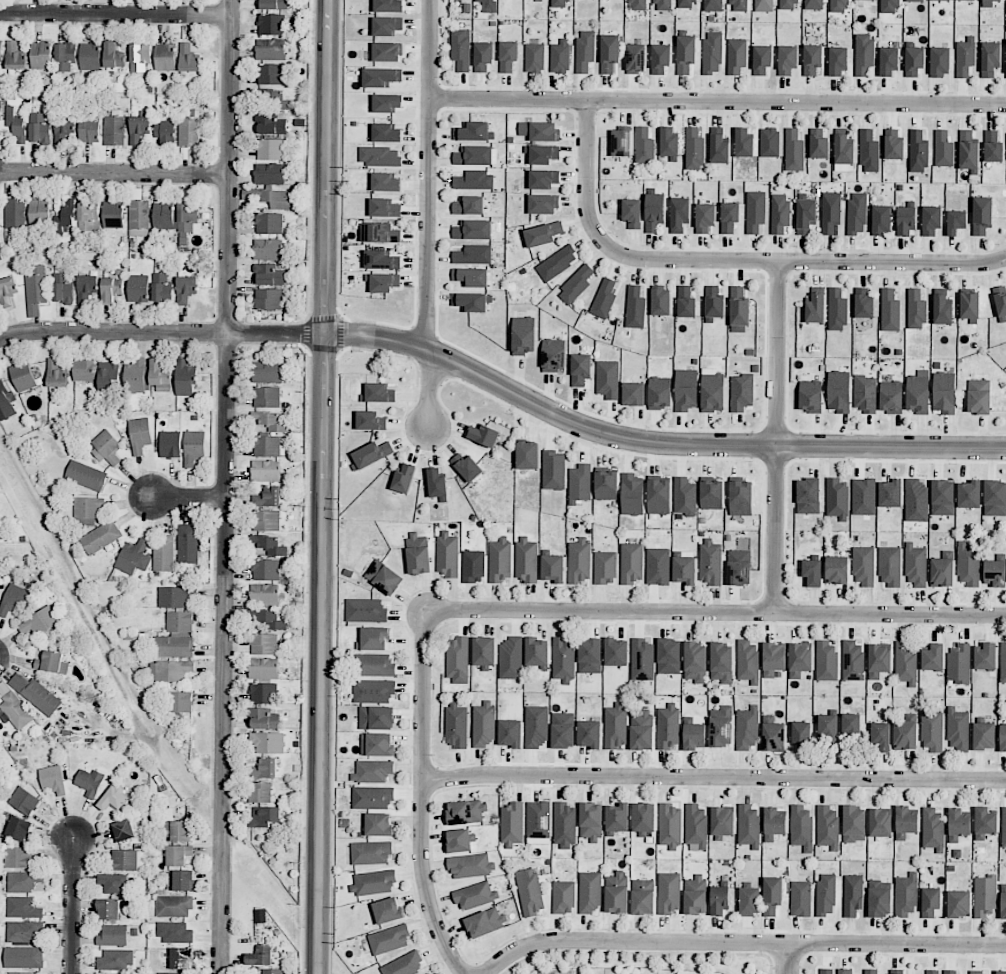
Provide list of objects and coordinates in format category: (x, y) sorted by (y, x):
building: (868, 0)
building: (941, 0)
building: (915, 1)
building: (559, 3)
building: (988, 3)
building: (273, 4)
building: (687, 4)
building: (788, 4)
building: (813, 4)
building: (388, 5)
building: (487, 5)
building: (637, 5)
building: (662, 5)
building: (712, 5)
building: (738, 5)
building: (763, 5)
building: (839, 6)
building: (889, 6)
road: (116, 15)
building: (271, 24)
building: (386, 26)
building: (271, 48)
building: (461, 49)
building: (1, 51)
building: (585, 51)
building: (386, 52)
building: (712, 52)
building: (609, 53)
building: (686, 53)
building: (863, 53)
building: (41, 55)
building: (113, 55)
building: (508, 55)
building: (736, 55)
building: (15, 56)
building: (65, 56)
building: (90, 56)
building: (140, 56)
building: (483, 56)
building: (534, 56)
building: (965, 56)
building: (165, 57)
building: (560, 57)
building: (188, 58)
building: (636, 58)
building: (660, 58)
building: (990, 58)
building: (762, 59)
building: (787, 59)
building: (812, 59)
building: (888, 60)
building: (837, 61)
building: (913, 61)
building: (940, 61)
building: (270, 74)
building: (381, 77)
building: (273, 100)
road: (717, 102)
building: (387, 103)
building: (0, 112)
building: (272, 123)
building: (16, 124)
building: (39, 128)
building: (64, 128)
building: (89, 129)
building: (114, 130)
building: (164, 130)
building: (189, 130)
building: (539, 131)
building: (474, 132)
building: (386, 133)
building: (621, 142)
building: (668, 142)
building: (769, 142)
building: (743, 143)
building: (644, 145)
building: (819, 145)
building: (893, 145)
building: (993, 146)
building: (718, 147)
building: (270, 149)
building: (694, 149)
building: (943, 149)
building: (793, 150)
building: (868, 151)
building: (918, 151)
building: (968, 151)
building: (843, 153)
building: (542, 154)
building: (474, 155)
building: (379, 156)
road: (231, 166)
road: (115, 173)
building: (269, 173)
road: (587, 174)
road: (428, 175)
building: (543, 179)
building: (474, 180)
building: (387, 182)
building: (271, 197)
building: (543, 204)
building: (469, 205)
building: (384, 208)
building: (654, 211)
building: (755, 211)
building: (39, 212)
building: (830, 212)
building: (15, 213)
building: (138, 213)
building: (632, 213)
building: (779, 213)
building: (857, 213)
building: (113, 214)
building: (679, 214)
building: (88, 215)
building: (163, 215)
building: (806, 215)
building: (982, 215)
building: (187, 217)
building: (704, 217)
building: (729, 217)
building: (64, 218)
building: (881, 220)
building: (905, 220)
building: (931, 220)
building: (955, 222)
building: (269, 223)
building: (473, 230)
building: (380, 233)
building: (542, 234)
building: (268, 249)
building: (473, 254)
building: (381, 259)
building: (557, 263)
road: (802, 263)
building: (269, 275)
building: (471, 277)
building: (383, 282)
building: (36, 285)
building: (576, 285)
building: (63, 287)
building: (86, 287)
building: (138, 288)
building: (162, 288)
building: (111, 289)
building: (186, 289)
building: (7, 291)
building: (269, 299)
building: (604, 299)
building: (1000, 301)
building: (470, 302)
building: (661, 302)
building: (686, 302)
building: (714, 302)
building: (864, 303)
building: (969, 305)
building: (635, 307)
building: (815, 308)
building: (916, 309)
building: (739, 310)
building: (837, 310)
building: (942, 310)
building: (890, 311)
road: (113, 332)
road: (276, 333)
building: (523, 335)
building: (553, 355)
building: (580, 369)
building: (83, 370)
building: (267, 372)
building: (56, 374)
building: (108, 374)
building: (23, 376)
building: (135, 376)
building: (160, 376)
building: (184, 378)
building: (607, 379)
road: (429, 387)
building: (686, 390)
building: (712, 390)
building: (839, 391)
building: (660, 392)
building: (741, 392)
building: (918, 392)
building: (944, 392)
building: (378, 393)
building: (865, 393)
building: (633, 394)
building: (810, 396)
building: (266, 397)
building: (891, 397)
building: (978, 397)
building: (6, 401)
building: (372, 420)
building: (269, 421)
building: (140, 435)
building: (483, 435)
road: (777, 438)
road: (653, 443)
building: (170, 444)
building: (267, 446)
building: (106, 447)
building: (193, 447)
building: (371, 454)
building: (527, 455)
building: (467, 467)
building: (553, 470)
building: (266, 471)
building: (86, 475)
building: (404, 477)
building: (580, 482)
building: (437, 483)
building: (606, 484)
road: (321, 486)
building: (711, 493)
building: (890, 493)
building: (632, 494)
building: (969, 494)
building: (269, 496)
building: (684, 496)
building: (808, 496)
building: (863, 496)
building: (659, 497)
building: (942, 497)
road: (188, 498)
building: (740, 498)
building: (995, 498)
building: (837, 499)
building: (916, 500)
building: (88, 507)
building: (266, 520)
building: (101, 537)
building: (188, 543)
building: (268, 546)
building: (418, 554)
building: (447, 554)
building: (164, 555)
building: (133, 557)
building: (499, 559)
building: (526, 559)
building: (579, 560)
building: (710, 562)
building: (631, 563)
building: (968, 564)
building: (863, 565)
building: (915, 565)
building: (473, 566)
building: (658, 566)
building: (889, 566)
building: (739, 567)
building: (553, 568)
building: (605, 568)
building: (266, 569)
building: (837, 569)
building: (684, 570)
building: (942, 570)
building: (812, 572)
building: (994, 573)
building: (383, 577)
building: (174, 596)
building: (13, 600)
building: (365, 610)
road: (714, 614)
building: (269, 619)
building: (39, 622)
road: (100, 635)
building: (176, 636)
building: (373, 638)
building: (264, 644)
building: (485, 652)
building: (537, 652)
building: (616, 652)
road: (224, 653)
building: (589, 655)
building: (669, 656)
building: (985, 656)
building: (511, 657)
building: (933, 657)
building: (642, 659)
building: (773, 659)
building: (458, 660)
building: (563, 660)
building: (799, 660)
building: (853, 660)
building: (878, 660)
building: (748, 661)
building: (826, 661)
building: (51, 662)
building: (695, 662)
building: (721, 662)
building: (905, 663)
building: (959, 663)
building: (1003, 663)
building: (374, 665)
building: (263, 668)
building: (170, 670)
building: (373, 691)
building: (264, 693)
building: (36, 694)
building: (181, 701)
building: (14, 711)
building: (376, 718)
building: (264, 719)
building: (483, 724)
building: (851, 724)
building: (456, 725)
building: (615, 725)
building: (536, 726)
building: (721, 726)
building: (827, 726)
building: (668, 727)
building: (747, 728)
building: (563, 730)
building: (642, 730)
building: (957, 730)
building: (931, 731)
building: (510, 733)
building: (589, 734)
building: (772, 735)
building: (905, 735)
building: (694, 736)
building: (802, 736)
building: (984, 736)
building: (880, 737)
building: (1002, 737)
building: (267, 742)
building: (376, 744)
building: (263, 768)
building: (372, 771)
road: (713, 778)
building: (52, 779)
building: (89, 782)
building: (259, 792)
building: (372, 797)
road: (420, 797)
building: (113, 799)
building: (24, 800)
building: (466, 812)
building: (264, 816)
building: (616, 818)
building: (643, 818)
building: (722, 821)
building: (538, 822)
building: (591, 822)
building: (905, 822)
building: (984, 822)
building: (774, 823)
building: (880, 823)
building: (378, 824)
building: (512, 824)
building: (854, 824)
building: (958, 824)
building: (564, 825)
building: (748, 825)
building: (670, 826)
building: (801, 827)
building: (1003, 827)
building: (18, 828)
building: (696, 828)
building: (827, 828)
building: (932, 829)
building: (123, 830)
building: (177, 830)
building: (459, 840)
building: (371, 853)
building: (178, 854)
building: (17, 857)
building: (125, 860)
building: (471, 865)
building: (183, 880)
building: (23, 881)
building: (113, 882)
building: (372, 882)
building: (529, 891)
building: (590, 892)
building: (616, 893)
building: (669, 893)
building: (853, 894)
building: (475, 895)
building: (695, 895)
building: (772, 895)
building: (825, 895)
building: (906, 895)
building: (985, 896)
building: (563, 897)
building: (643, 897)
building: (800, 898)
building: (880, 898)
building: (719, 900)
building: (749, 901)
building: (1003, 901)
building: (930, 902)
building: (958, 904)
building: (173, 906)
building: (23, 907)
road: (72, 907)
building: (108, 909)
building: (387, 910)
building: (484, 922)
building: (24, 931)
building: (174, 932)
building: (113, 935)
building: (389, 939)
road: (743, 943)
building: (260, 955)
building: (23, 957)
building: (181, 958)
building: (115, 959)
road: (785, 959)
building: (404, 965)
building: (268, 971)
building: (826, 971)
building: (844, 971)
building: (870, 971)
building: (932, 972)
building: (949, 972)
building: (1000, 972)
building: (20, 973)
building: (169, 973)
building: (979, 973)

